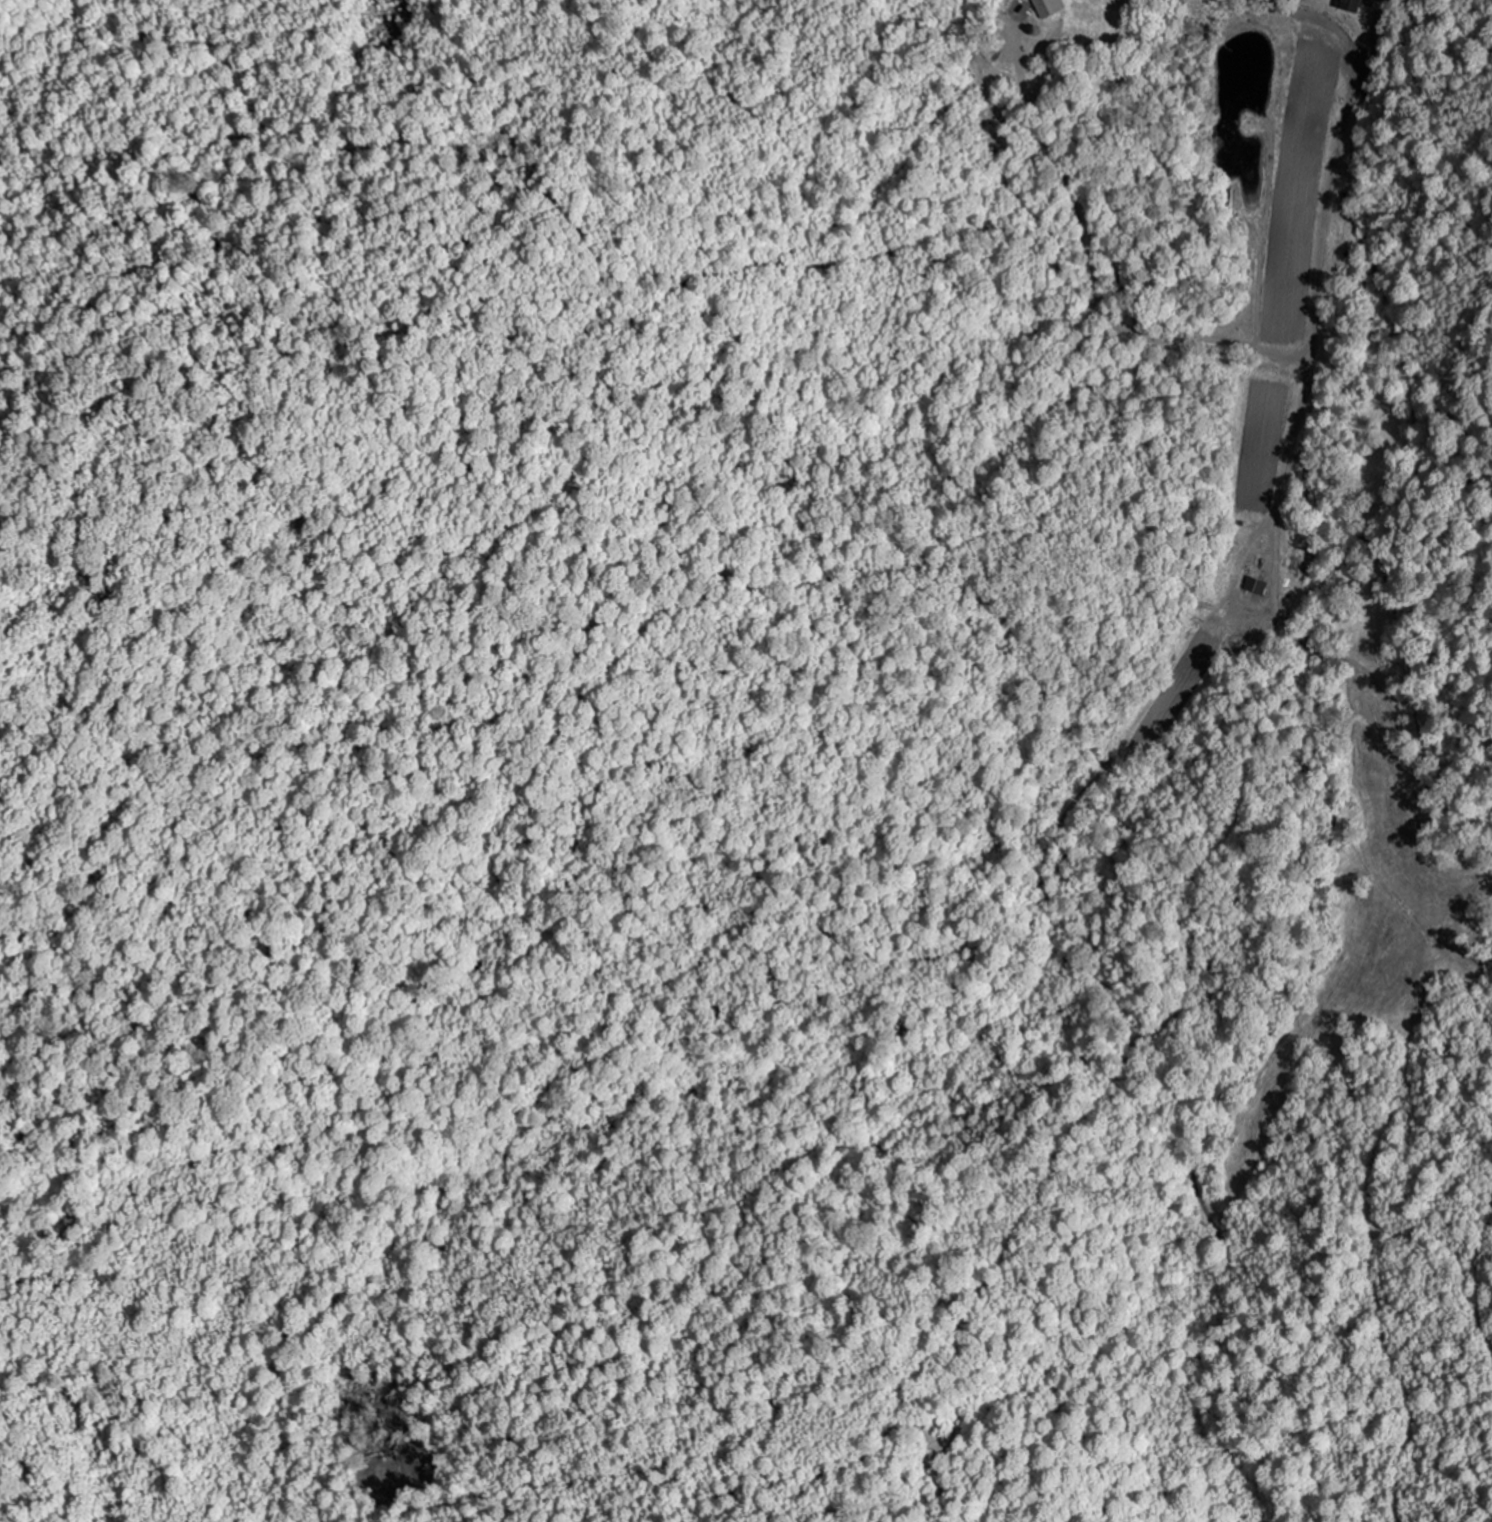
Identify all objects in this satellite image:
building: (1348, 6)

